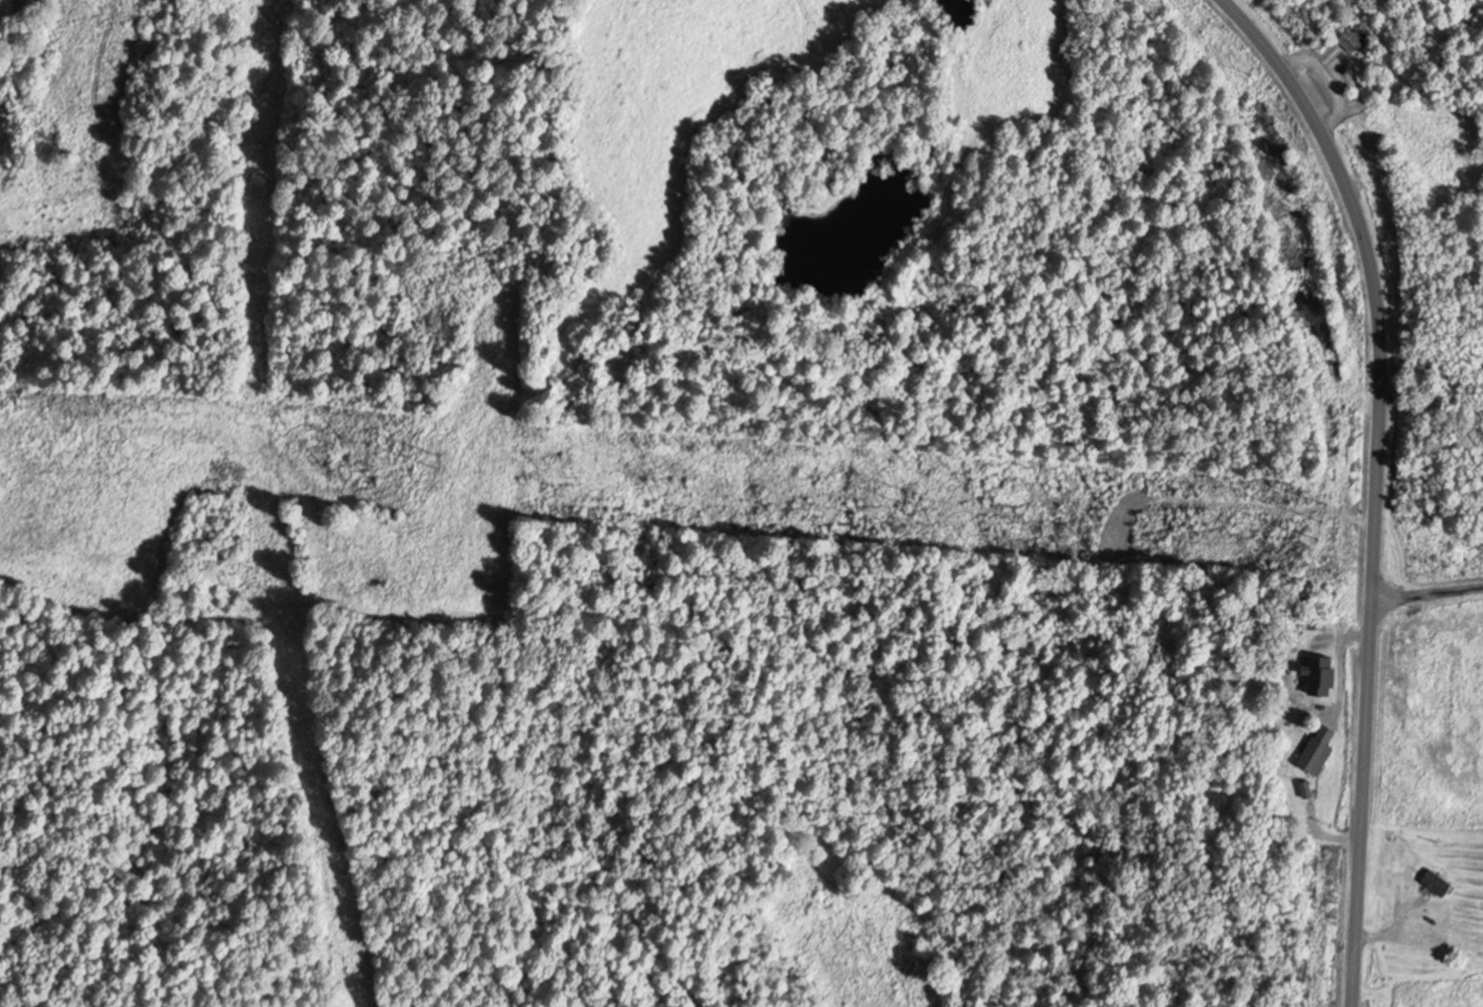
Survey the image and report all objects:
building: (1353, 4)
building: (1354, 39)
power tower: (445, 461)
road: (1375, 482)
power tower: (912, 499)
power tower: (1326, 518)
road: (1426, 593)
building: (1324, 674)
building: (1322, 749)
building: (1440, 883)

